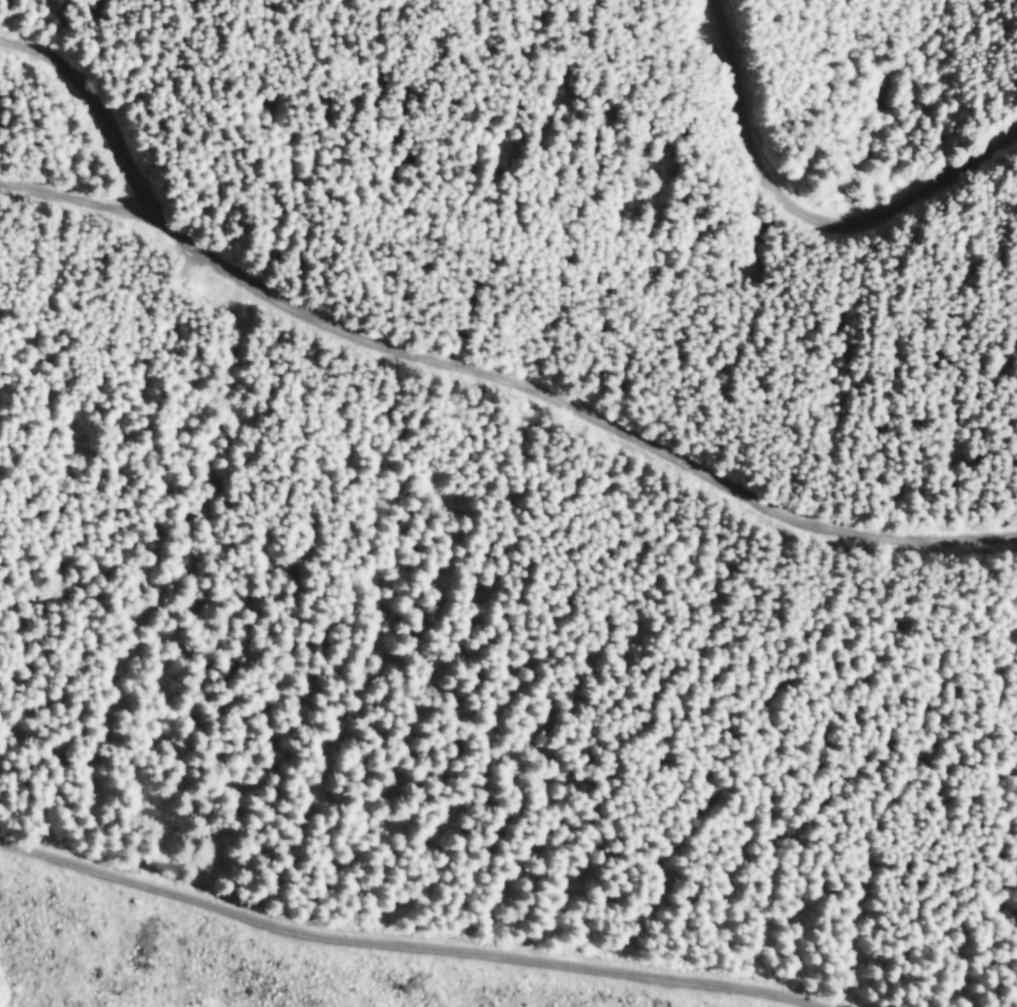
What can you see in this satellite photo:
road: (98, 121)
road: (807, 211)
road: (503, 382)
road: (407, 933)

